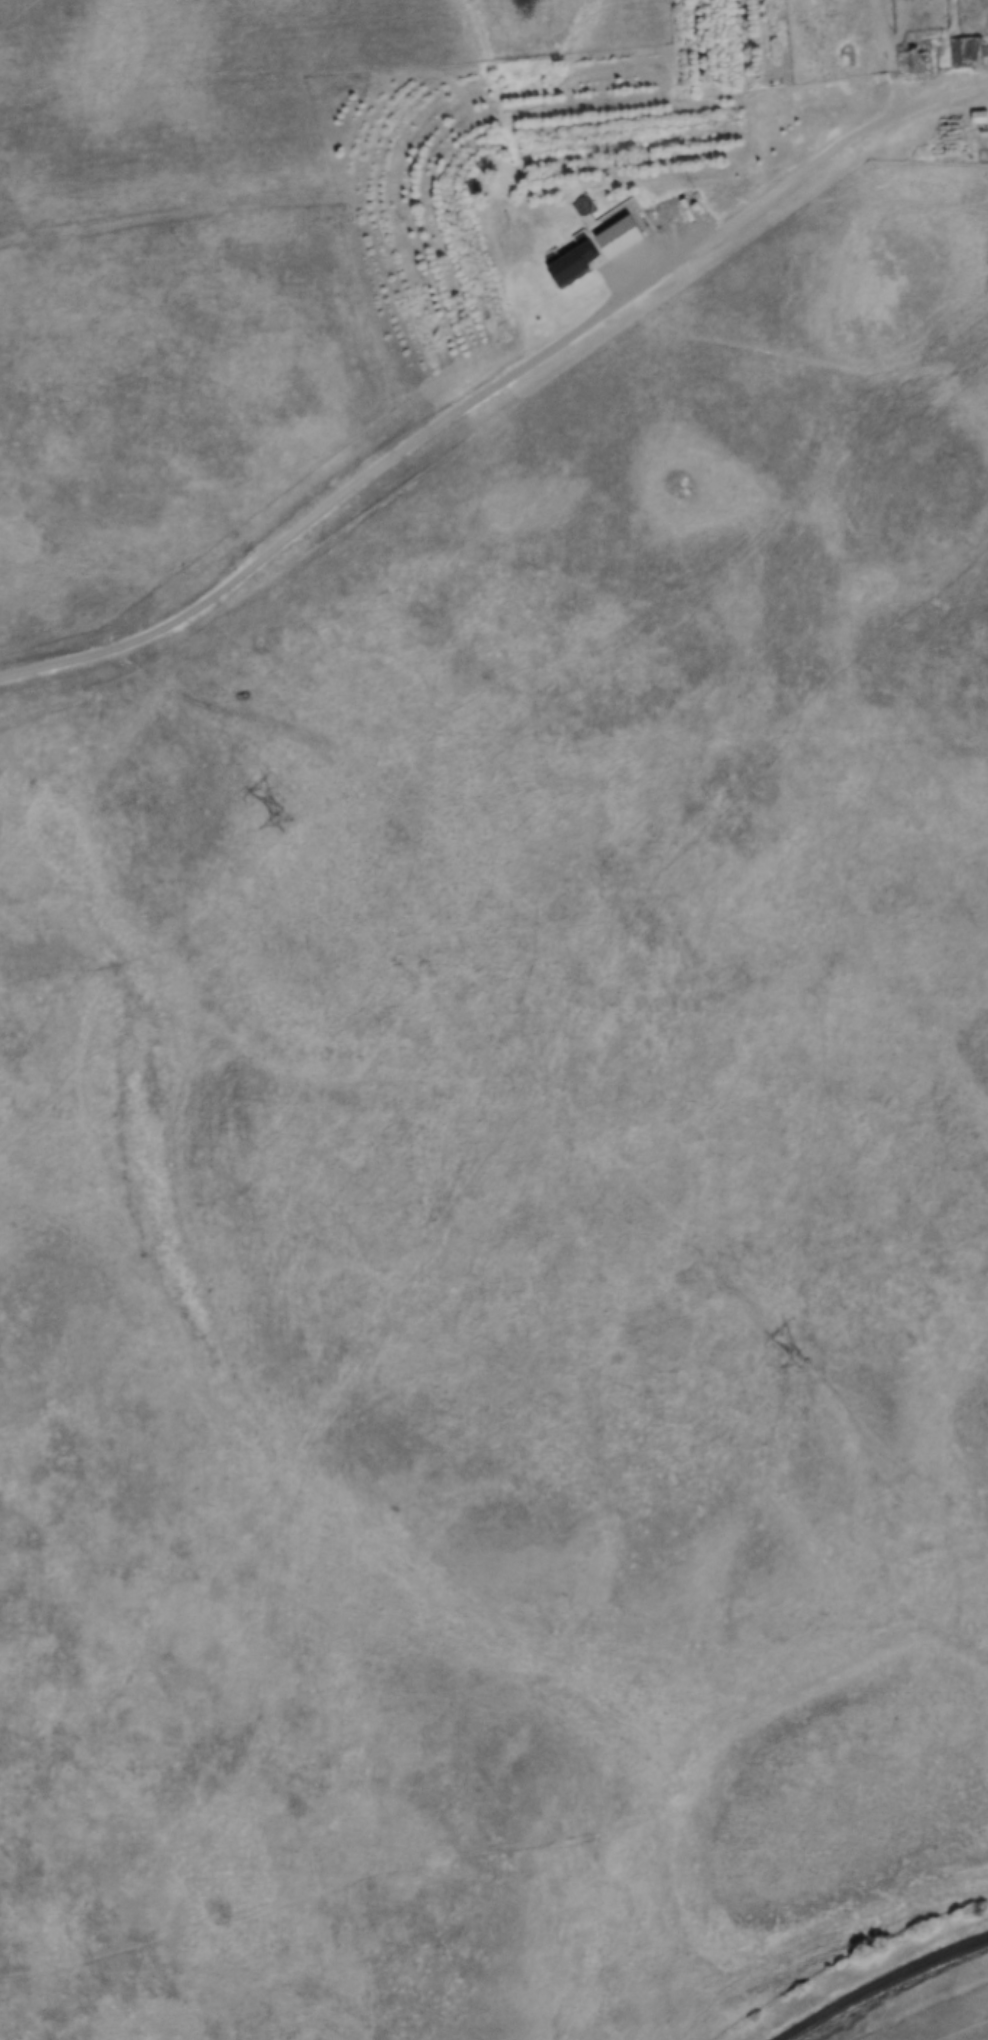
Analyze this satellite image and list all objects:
building: (965, 52)
building: (912, 58)
building: (572, 265)
road: (493, 390)
power tower: (288, 824)
power tower: (797, 1364)
railway: (883, 1984)

